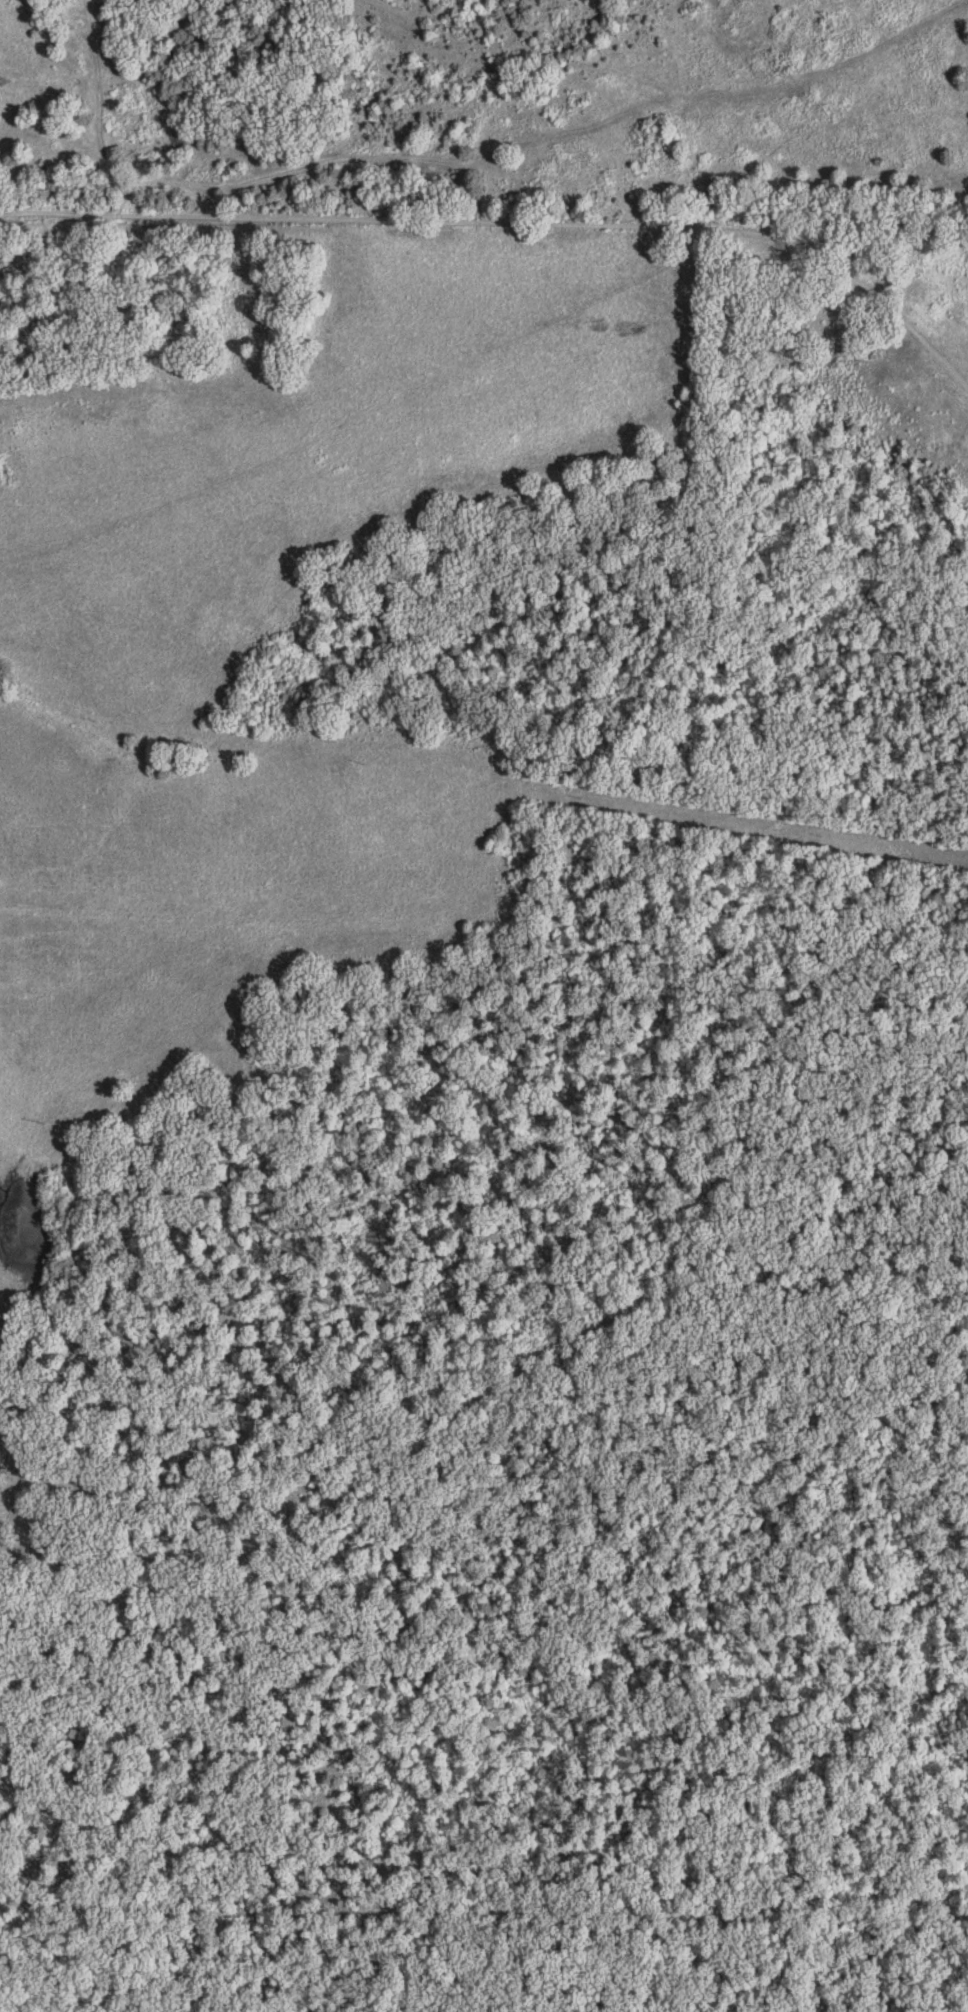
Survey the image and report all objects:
road: (511, 220)

